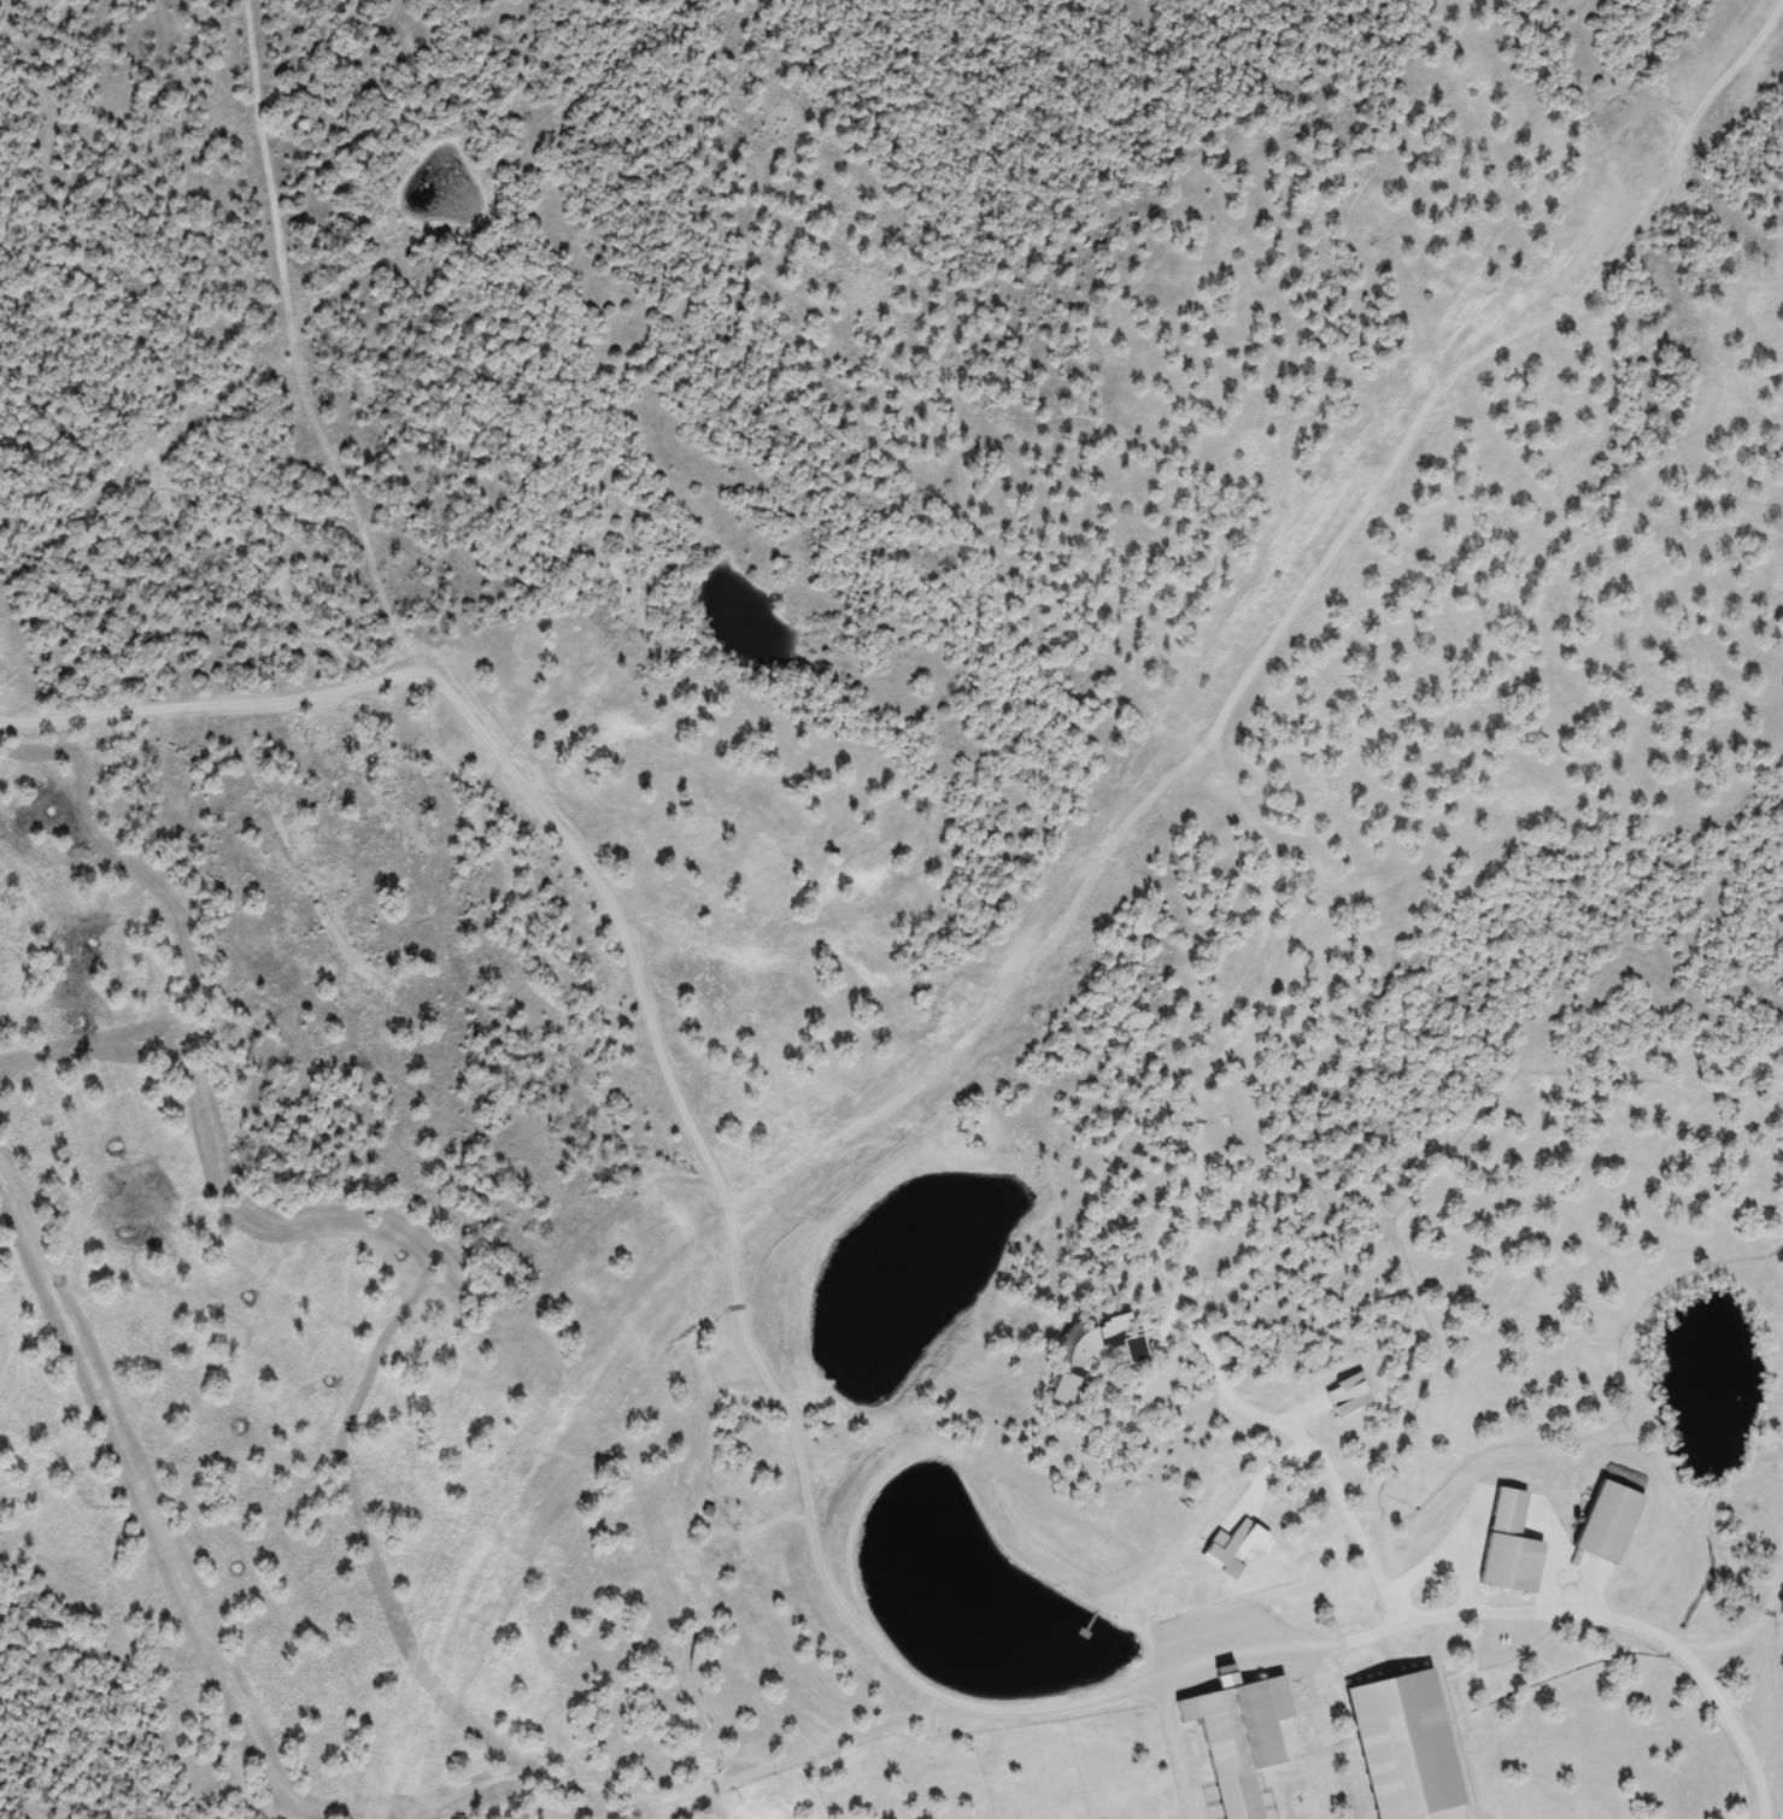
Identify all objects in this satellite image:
building: (1134, 1350)
building: (1084, 1356)
road: (1321, 1442)
building: (1609, 1522)
building: (1236, 1544)
building: (1511, 1545)
road: (1533, 1604)
building: (1239, 1737)
building: (1406, 1745)

